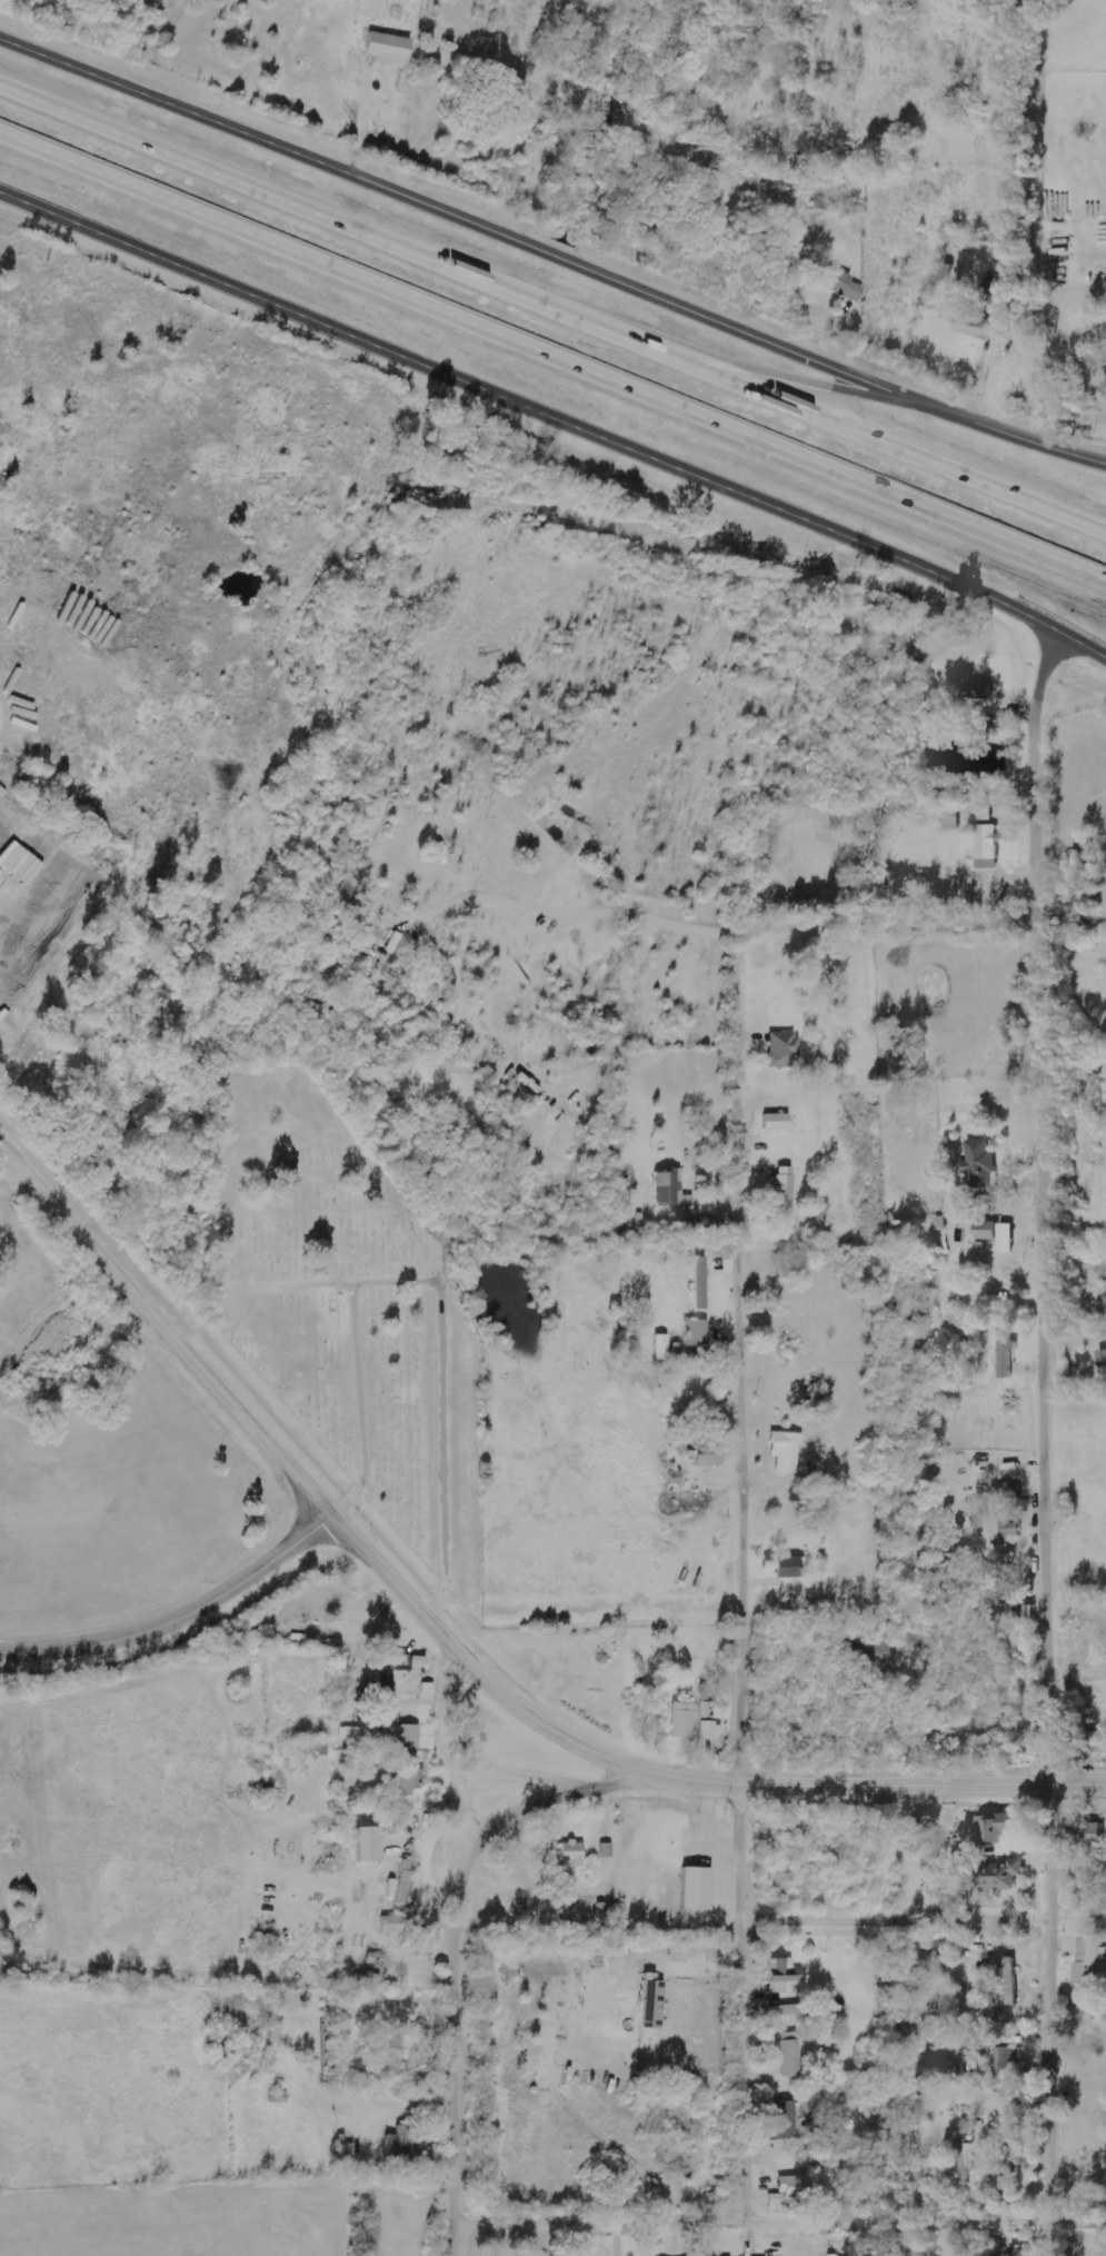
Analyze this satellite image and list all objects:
building: (391, 48)
road: (472, 222)
building: (945, 279)
building: (837, 281)
road: (555, 299)
building: (979, 327)
road: (552, 355)
road: (790, 376)
road: (556, 418)
road: (1024, 439)
building: (979, 689)
building: (987, 848)
road: (926, 927)
building: (785, 1050)
building: (779, 1122)
building: (980, 1163)
building: (669, 1186)
building: (783, 1195)
building: (701, 1226)
building: (988, 1231)
building: (1006, 1239)
building: (701, 1283)
park: (347, 1311)
road: (167, 1331)
building: (698, 1332)
building: (662, 1348)
building: (1007, 1352)
building: (1102, 1360)
road: (1050, 1443)
building: (787, 1451)
building: (1002, 1521)
building: (791, 1567)
road: (737, 1573)
road: (180, 1624)
building: (406, 1660)
building: (416, 1672)
building: (387, 1687)
building: (706, 1711)
building: (684, 1720)
building: (711, 1730)
building: (411, 1737)
building: (1092, 1738)
building: (318, 1748)
road: (670, 1779)
building: (410, 1780)
building: (992, 1829)
building: (1088, 1835)
building: (370, 1843)
building: (607, 1850)
building: (574, 1854)
building: (1002, 1877)
building: (406, 1882)
building: (699, 1888)
building: (393, 1925)
road: (925, 1925)
building: (1092, 1964)
road: (467, 1967)
building: (784, 1975)
building: (654, 2005)
building: (791, 2055)
building: (409, 2057)
building: (1003, 2063)
building: (786, 2120)
building: (403, 2144)
building: (965, 2155)
building: (791, 2190)
road: (785, 2216)
building: (1015, 2254)

